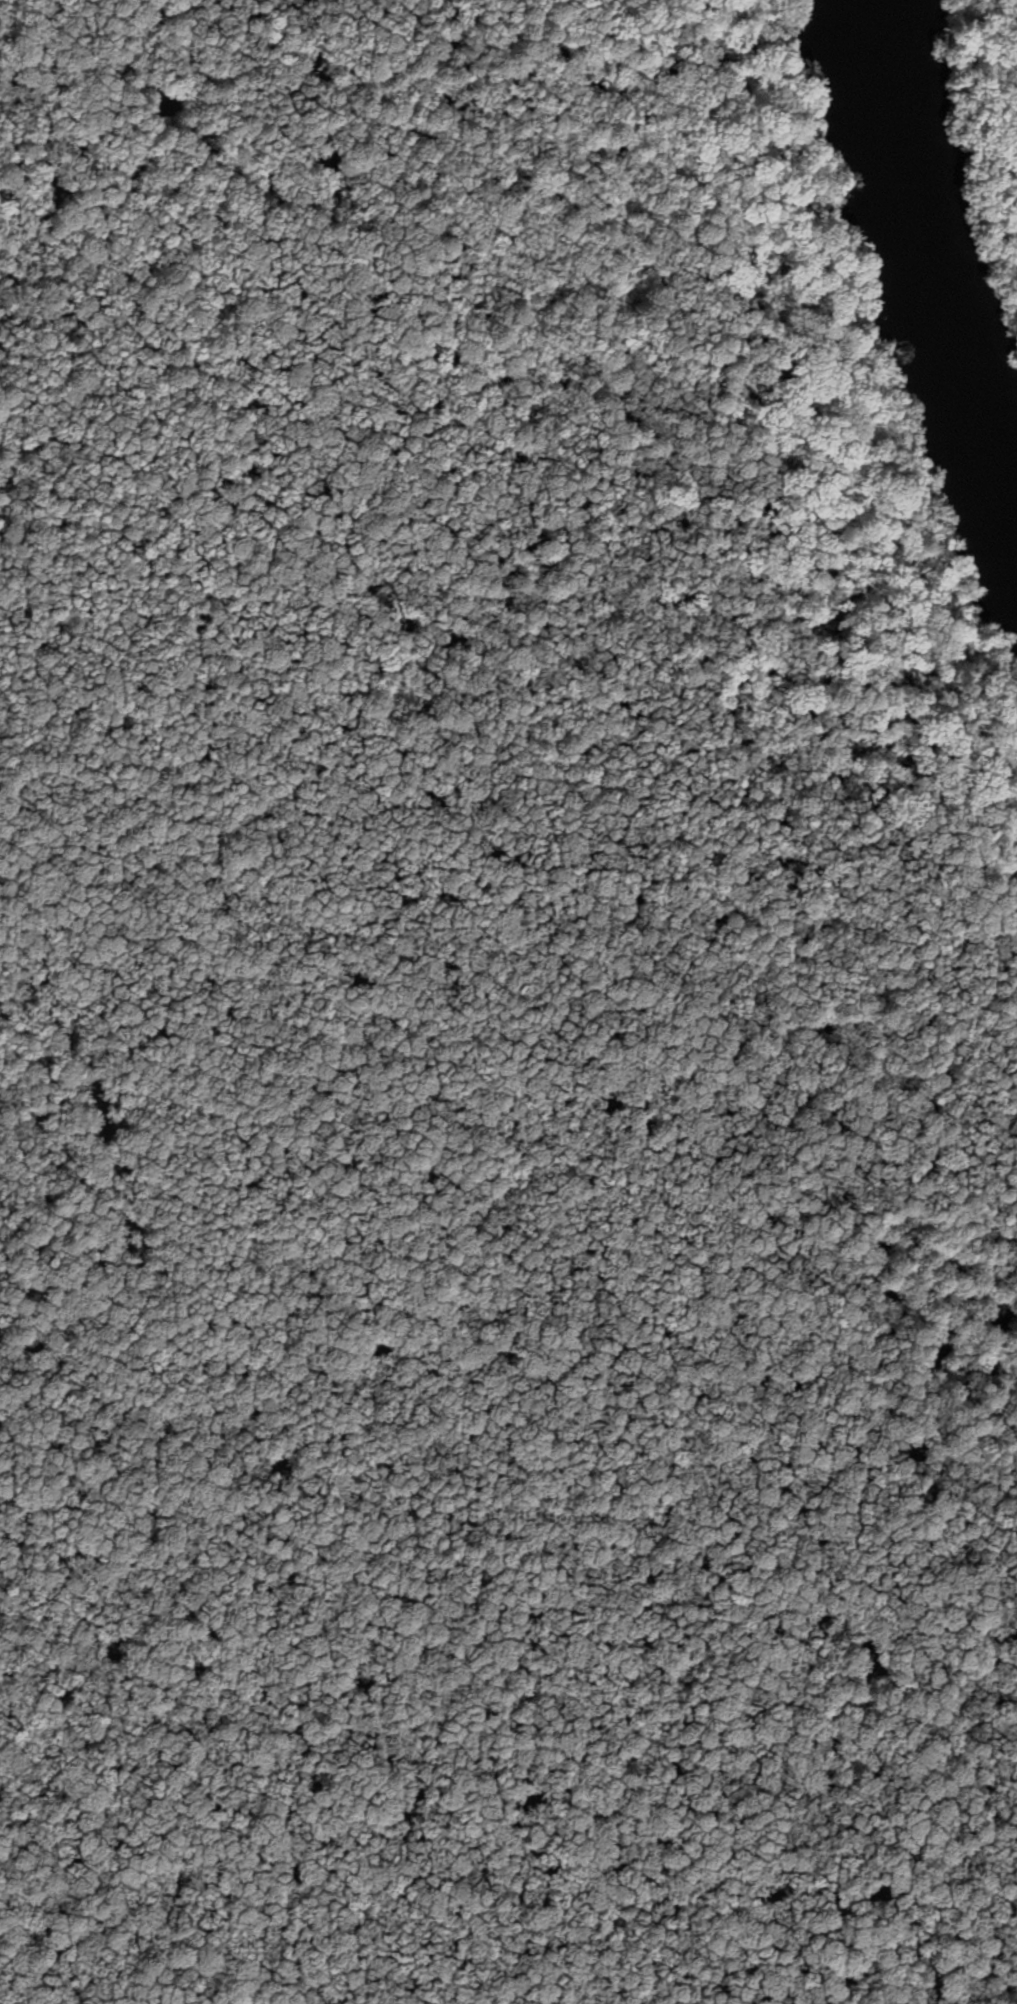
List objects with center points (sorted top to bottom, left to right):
river: (891, 302)

